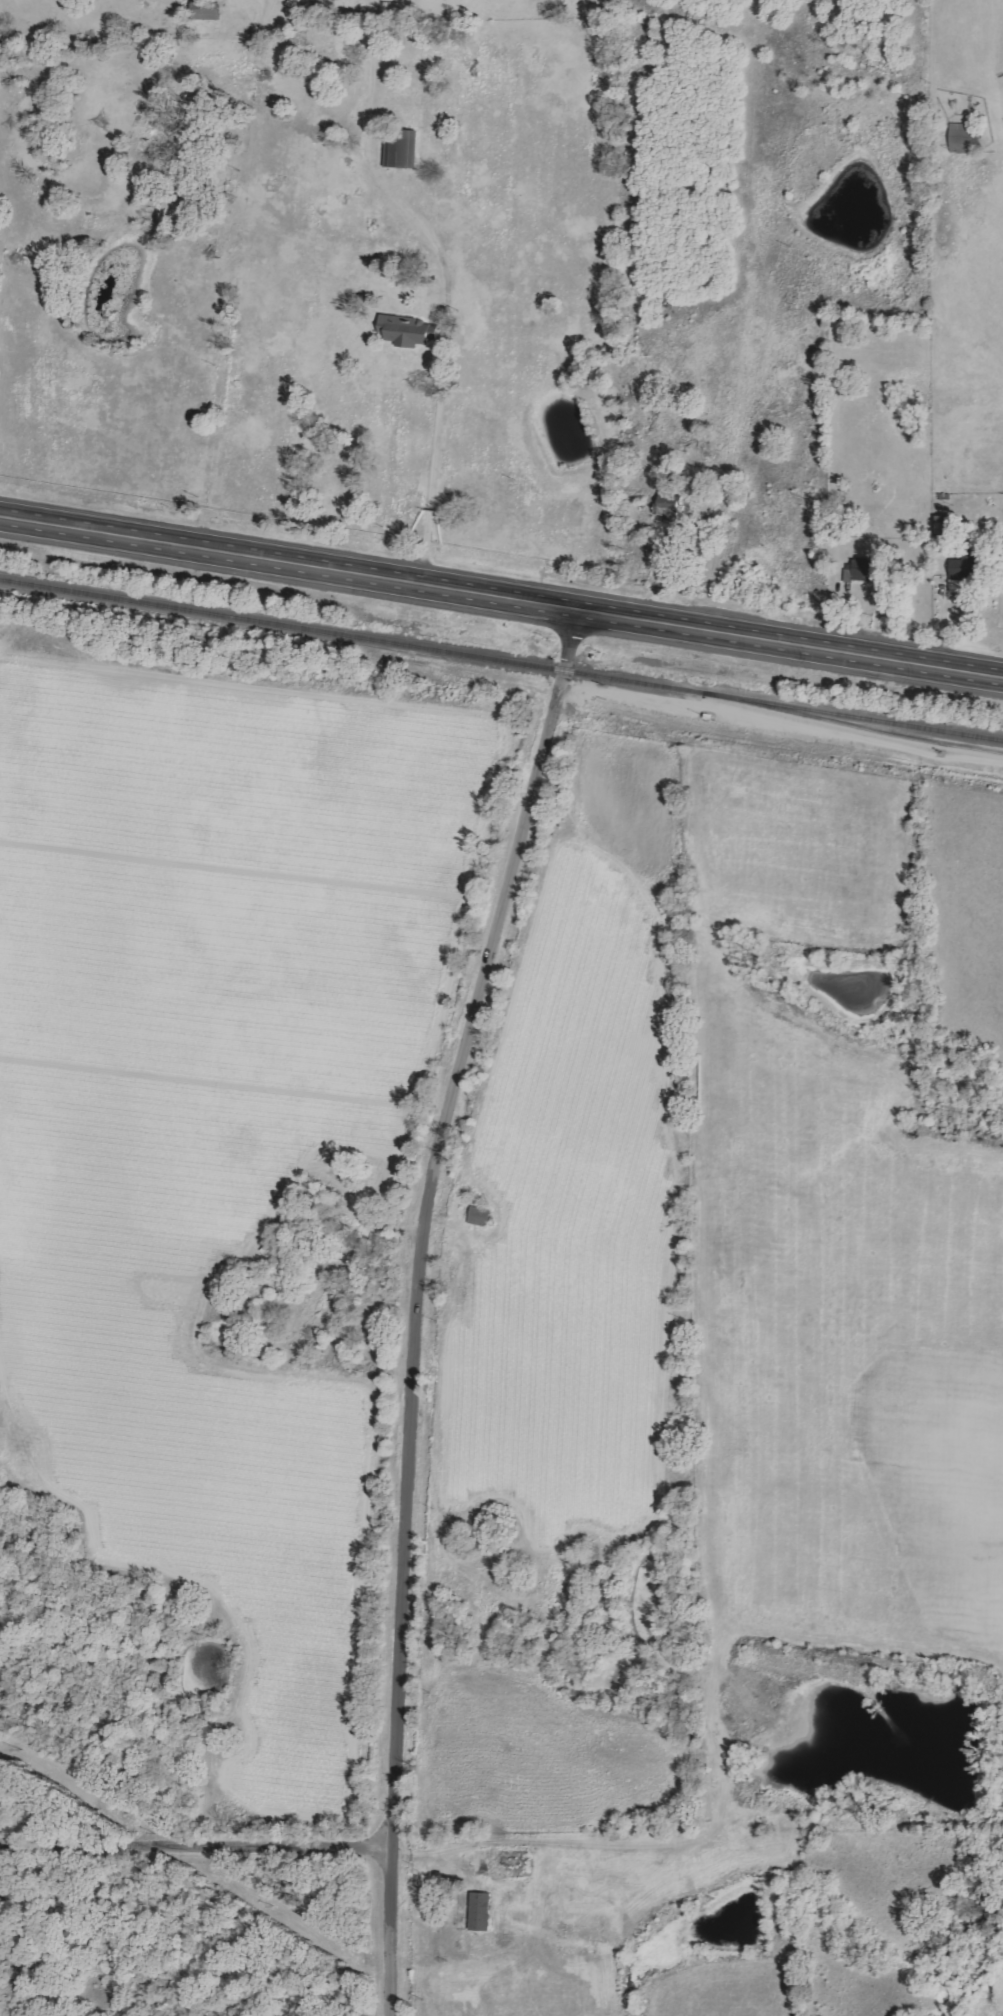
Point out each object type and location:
building: (961, 137)
building: (403, 148)
road: (444, 294)
building: (408, 331)
building: (670, 505)
building: (863, 571)
building: (960, 579)
road: (501, 594)
railway: (501, 659)
railway: (853, 724)
building: (481, 1216)
road: (414, 1300)
power tower: (21, 1750)
road: (447, 1842)
road: (195, 1849)
building: (482, 1911)
power tower: (426, 1998)

